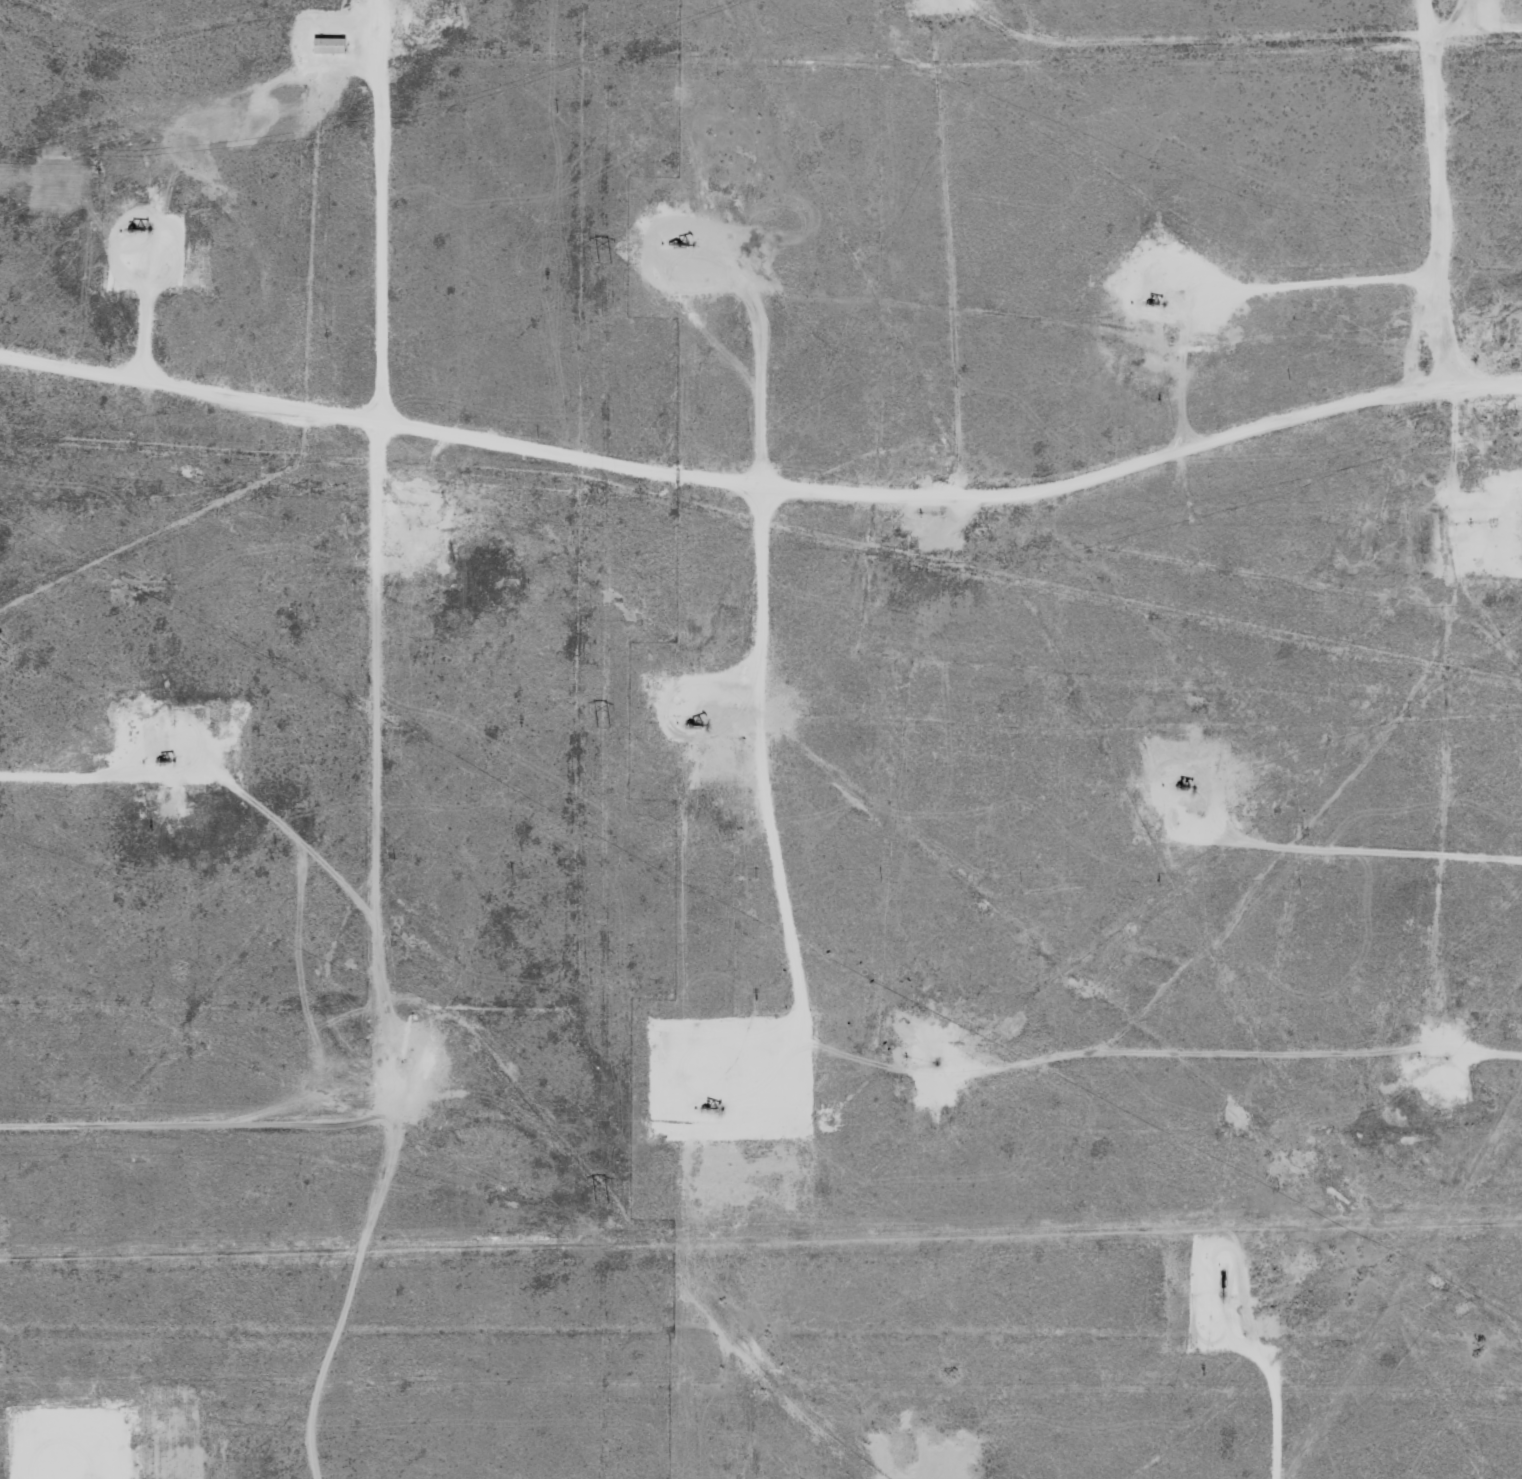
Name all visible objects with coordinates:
road: (1016, 32)
road: (1439, 184)
power tower: (606, 262)
road: (765, 477)
power tower: (601, 728)
road: (392, 742)
road: (1281, 1067)
power tower: (605, 1204)

